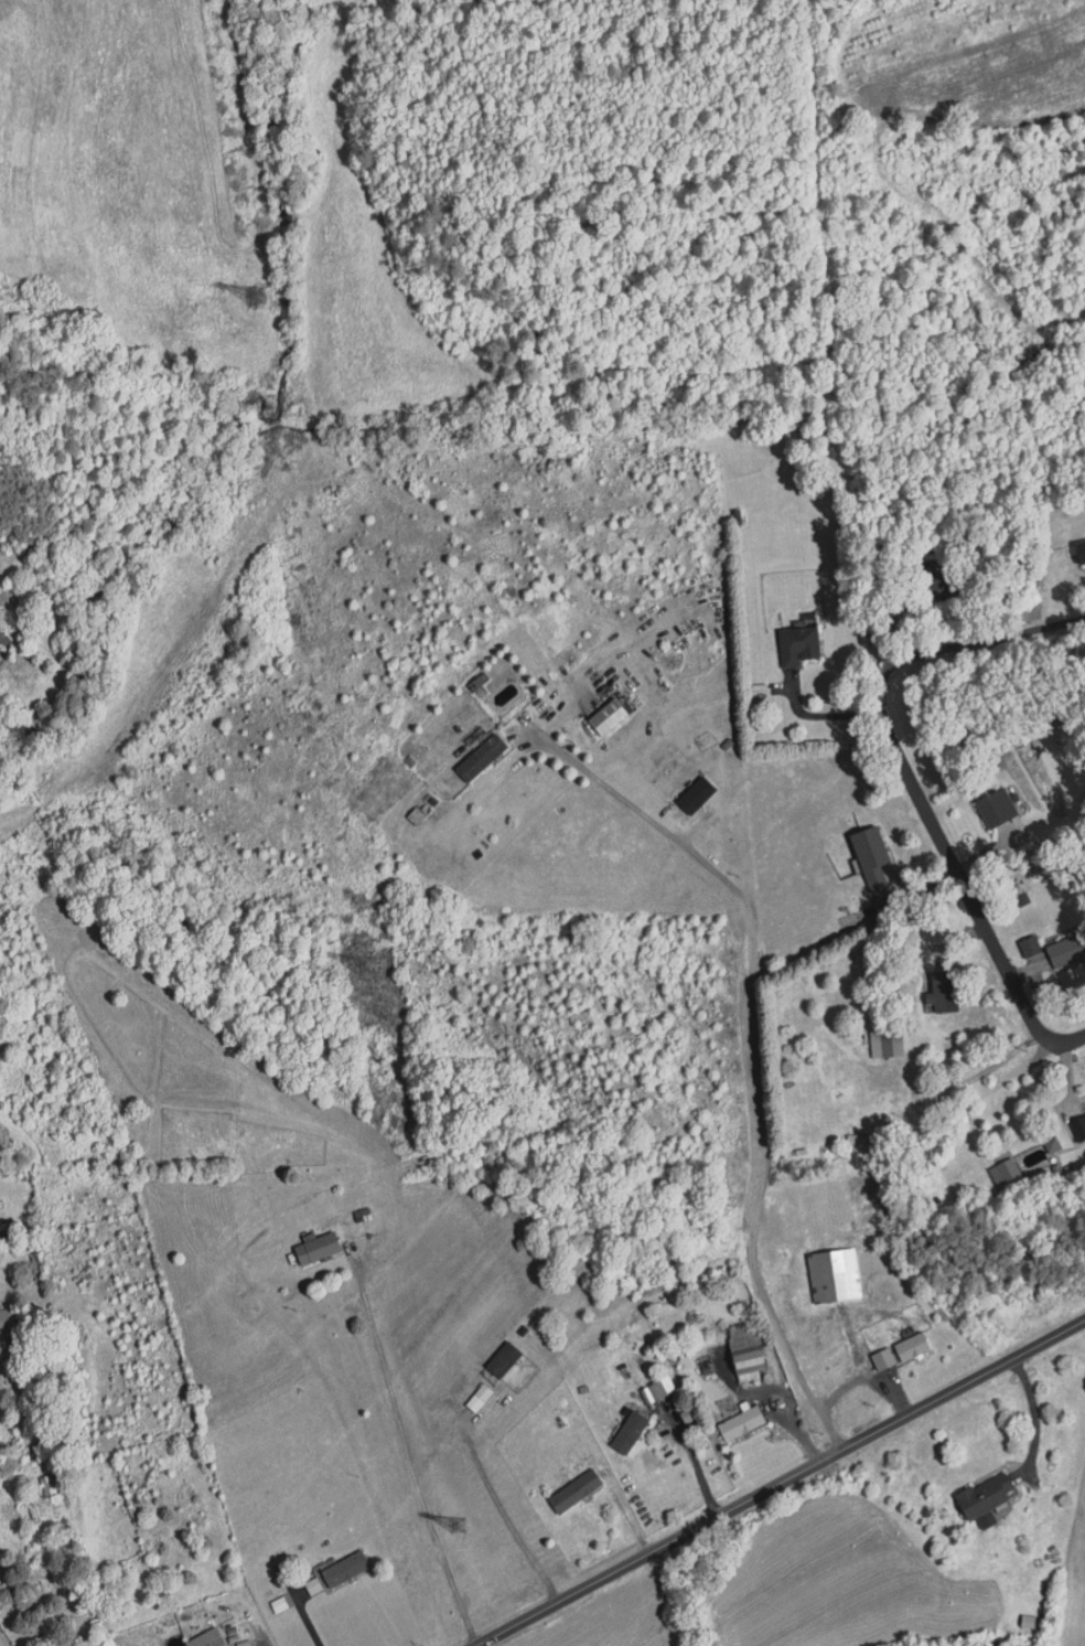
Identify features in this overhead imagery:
building: (1081, 554)
building: (943, 586)
building: (797, 645)
road: (894, 661)
building: (606, 716)
building: (479, 755)
building: (696, 795)
building: (991, 811)
building: (873, 861)
road: (995, 949)
building: (1066, 950)
building: (941, 993)
road: (749, 1059)
road: (999, 1080)
building: (1077, 1130)
building: (1002, 1173)
building: (315, 1249)
building: (35, 1268)
building: (834, 1275)
building: (6, 1322)
building: (911, 1347)
building: (745, 1351)
building: (502, 1360)
building: (622, 1368)
building: (659, 1388)
building: (740, 1424)
building: (629, 1432)
road: (391, 1451)
road: (781, 1484)
building: (50, 1487)
building: (573, 1492)
building: (984, 1499)
road: (507, 1519)
building: (345, 1570)
building: (205, 1639)

